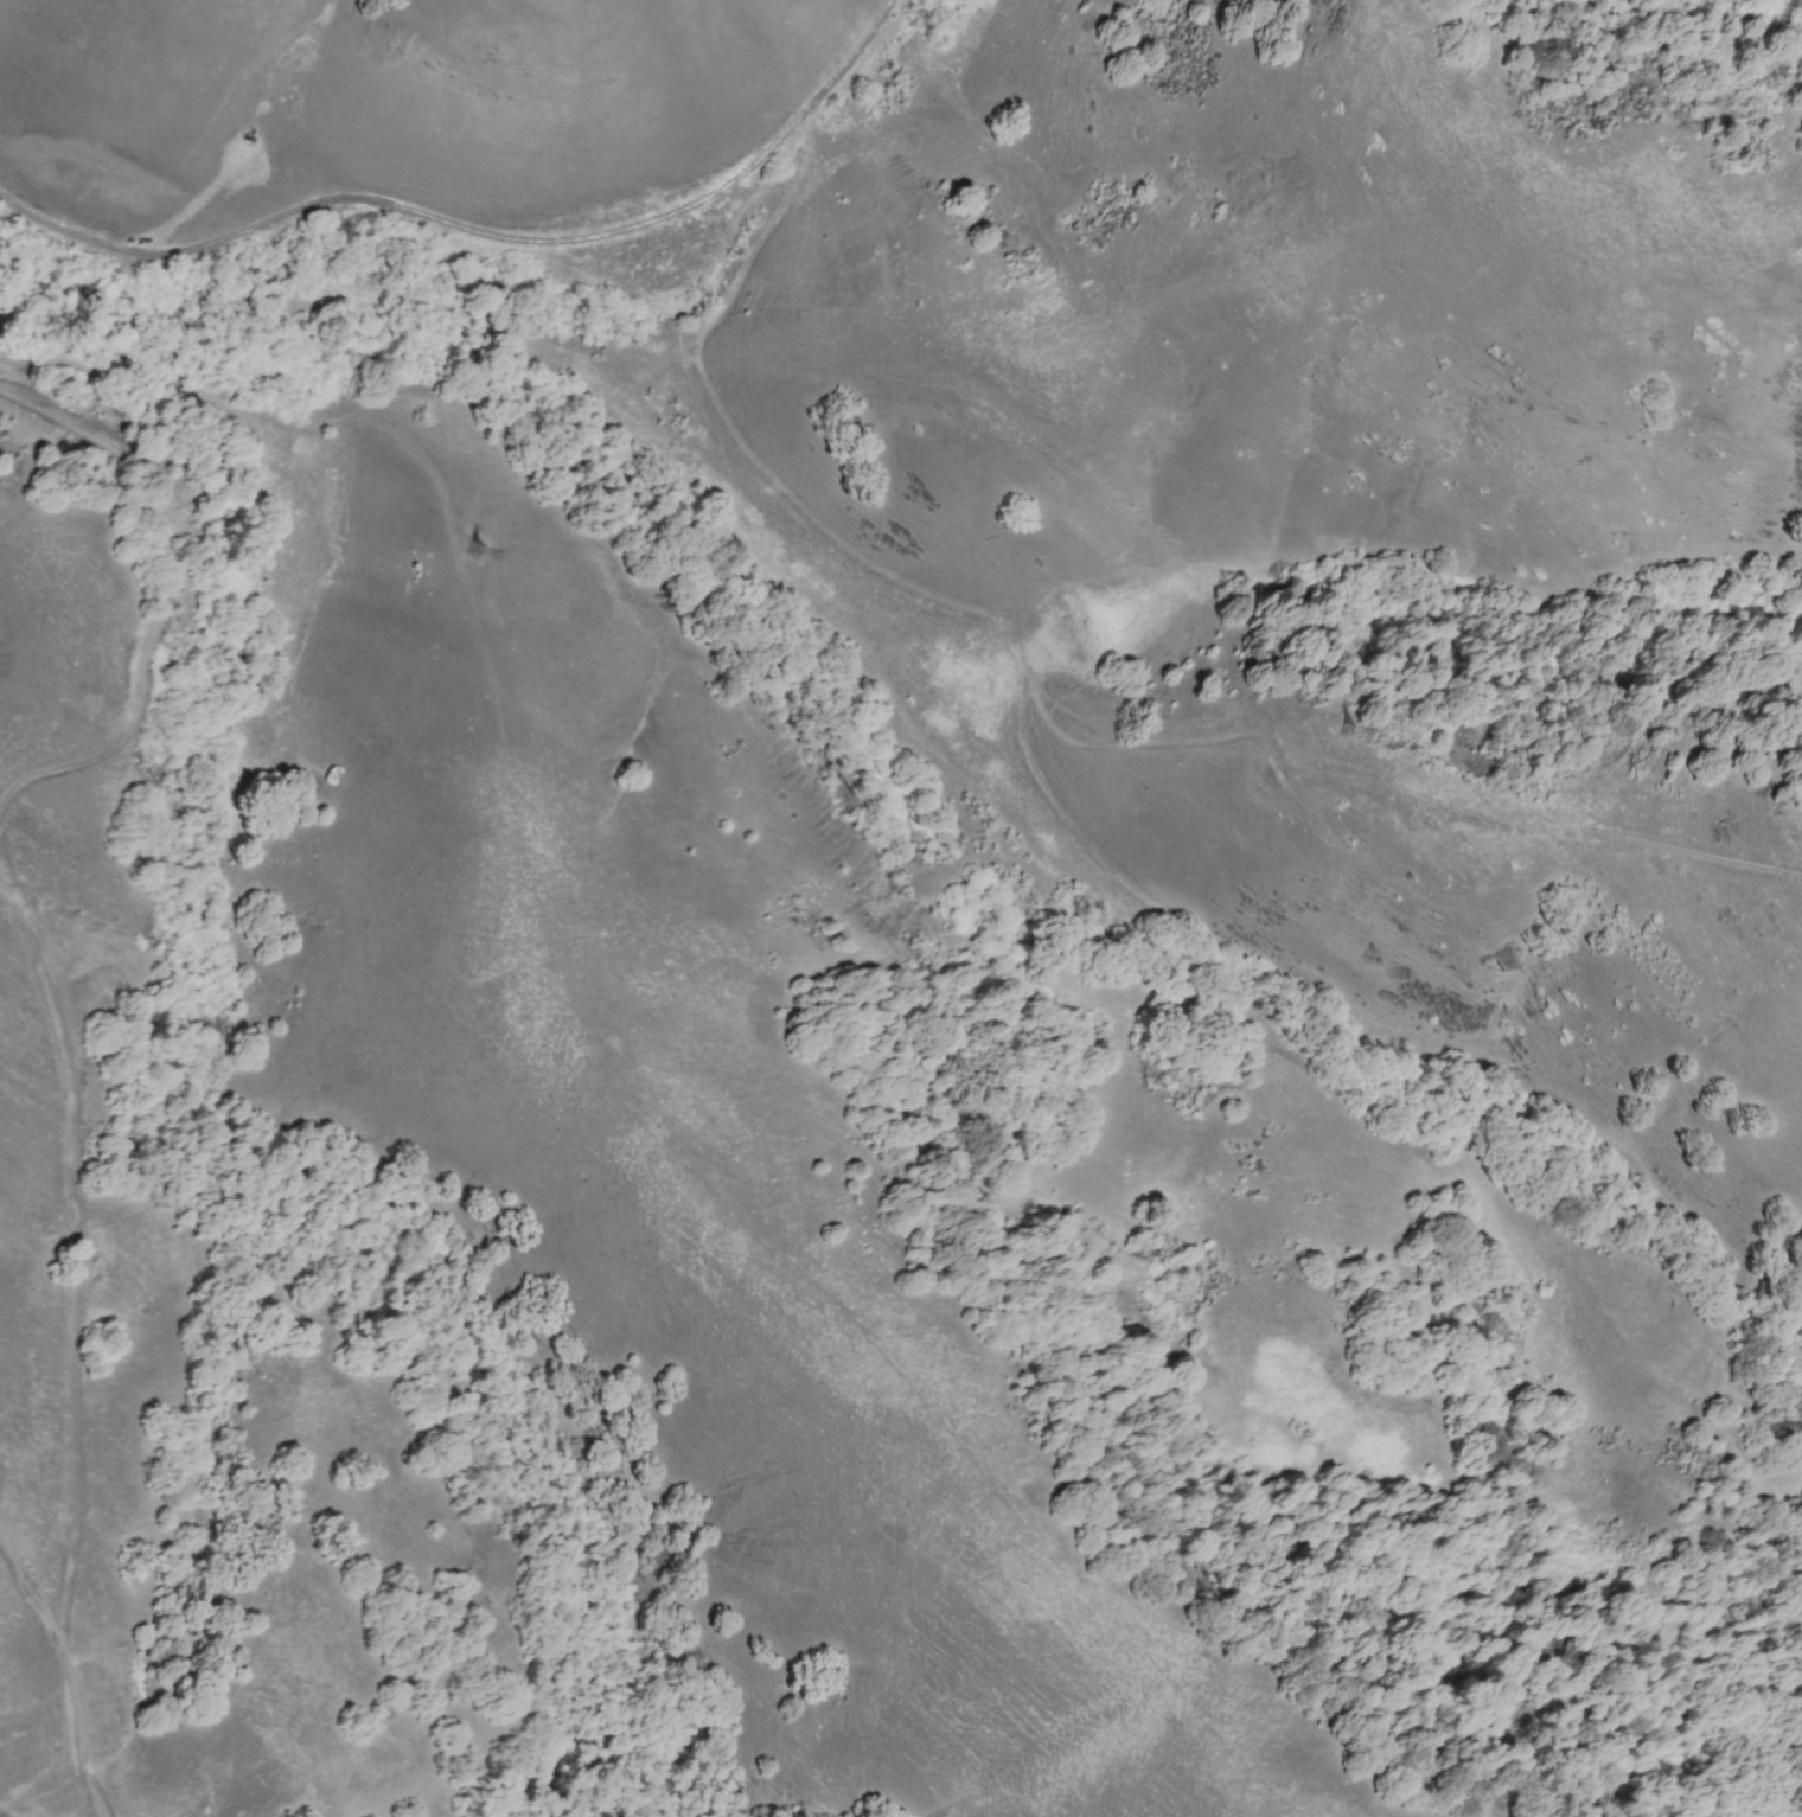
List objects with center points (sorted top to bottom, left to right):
road: (483, 235)
power tower: (479, 557)
power tower: (1351, 738)
road: (74, 1728)

